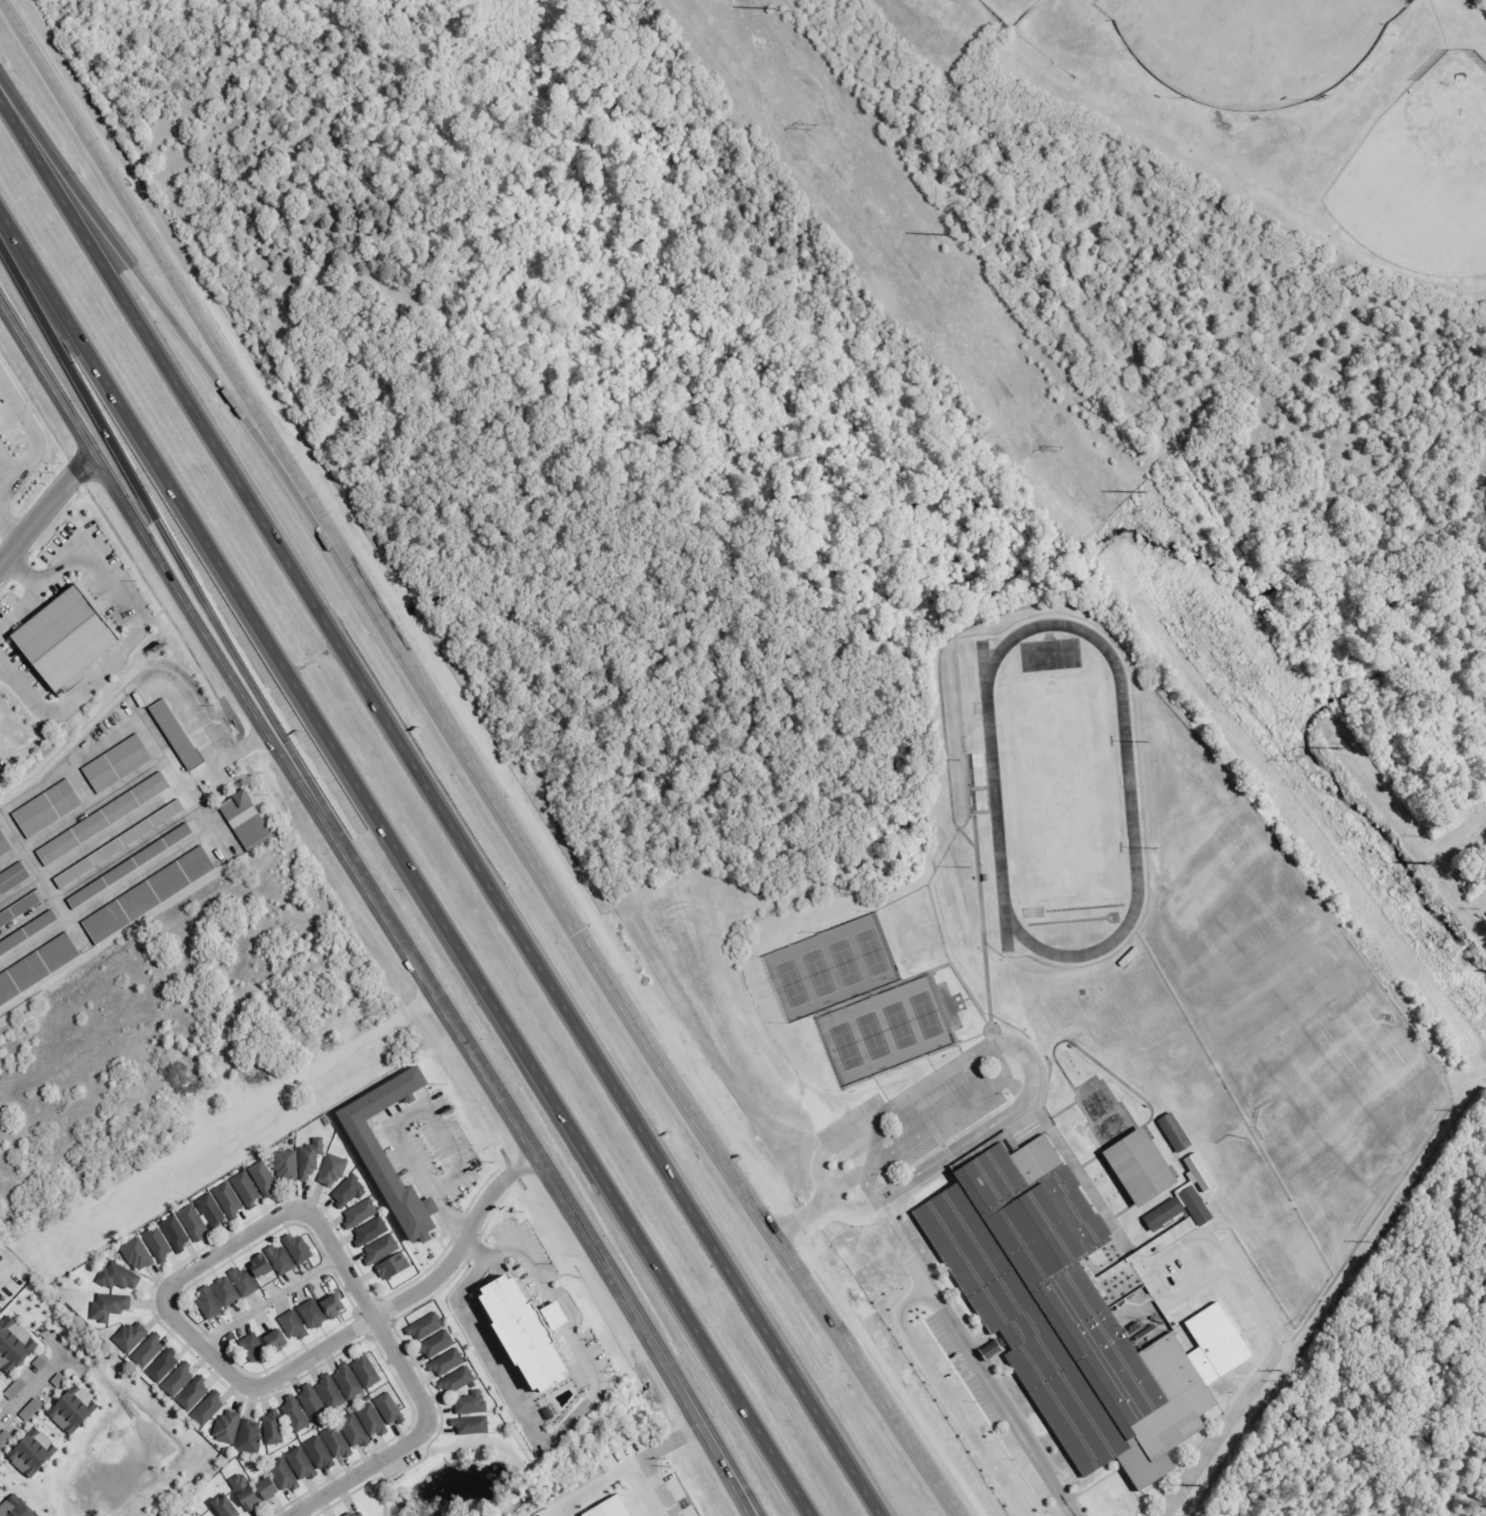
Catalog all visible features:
park: (1250, 44)
power tower: (819, 127)
park: (1425, 172)
road: (141, 275)
building: (4, 422)
power tower: (1057, 448)
road: (45, 507)
road: (162, 532)
road: (26, 592)
building: (73, 639)
building: (180, 735)
road: (244, 748)
power tower: (1293, 758)
building: (121, 763)
road: (473, 764)
track: (1129, 788)
park: (1062, 789)
road: (439, 805)
building: (51, 809)
building: (107, 819)
building: (250, 820)
building: (6, 845)
building: (134, 866)
road: (408, 868)
building: (15, 881)
building: (151, 895)
road: (377, 906)
building: (40, 970)
park: (858, 1000)
road: (938, 1072)
road: (952, 1106)
road: (948, 1144)
building: (369, 1151)
building: (310, 1157)
building: (285, 1165)
building: (1136, 1166)
building: (332, 1171)
road: (845, 1174)
building: (262, 1177)
road: (865, 1180)
road: (822, 1185)
building: (245, 1187)
building: (348, 1191)
building: (1186, 1191)
building: (227, 1198)
building: (209, 1209)
road: (851, 1209)
building: (359, 1210)
building: (1162, 1214)
building: (192, 1219)
building: (368, 1229)
building: (174, 1231)
road: (813, 1234)
building: (156, 1242)
building: (297, 1247)
building: (380, 1247)
building: (137, 1254)
building: (280, 1259)
road: (1144, 1265)
building: (248, 1275)
building: (118, 1277)
building: (224, 1291)
road: (267, 1299)
building: (208, 1302)
building: (109, 1306)
building: (330, 1306)
building: (1058, 1310)
building: (311, 1314)
building: (291, 1324)
building: (424, 1324)
building: (520, 1331)
building: (129, 1337)
building: (273, 1341)
building: (435, 1342)
building: (14, 1344)
building: (253, 1348)
building: (147, 1349)
building: (445, 1360)
road: (973, 1360)
building: (162, 1363)
building: (365, 1369)
road: (231, 1374)
road: (31, 1378)
building: (178, 1378)
building: (456, 1378)
building: (347, 1380)
building: (329, 1390)
road: (1242, 1391)
building: (192, 1392)
building: (311, 1400)
building: (470, 1403)
building: (74, 1404)
building: (207, 1406)
building: (388, 1407)
building: (294, 1412)
building: (371, 1419)
building: (470, 1425)
building: (226, 1426)
building: (272, 1427)
building: (354, 1430)
building: (249, 1436)
building: (336, 1440)
road: (412, 1440)
building: (33, 1450)
building: (317, 1451)
building: (299, 1462)
building: (284, 1474)
building: (0, 1486)
building: (251, 1490)
building: (16, 1507)
building: (223, 1507)
building: (606, 1508)
road: (751, 1511)
building: (356, 1513)

